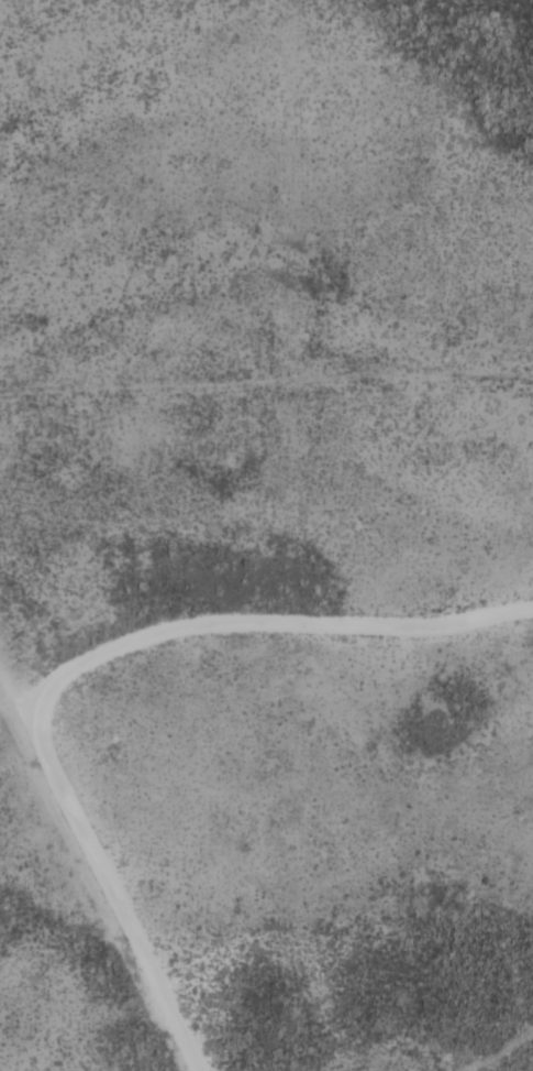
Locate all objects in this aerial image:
road: (257, 621)
road: (111, 883)

